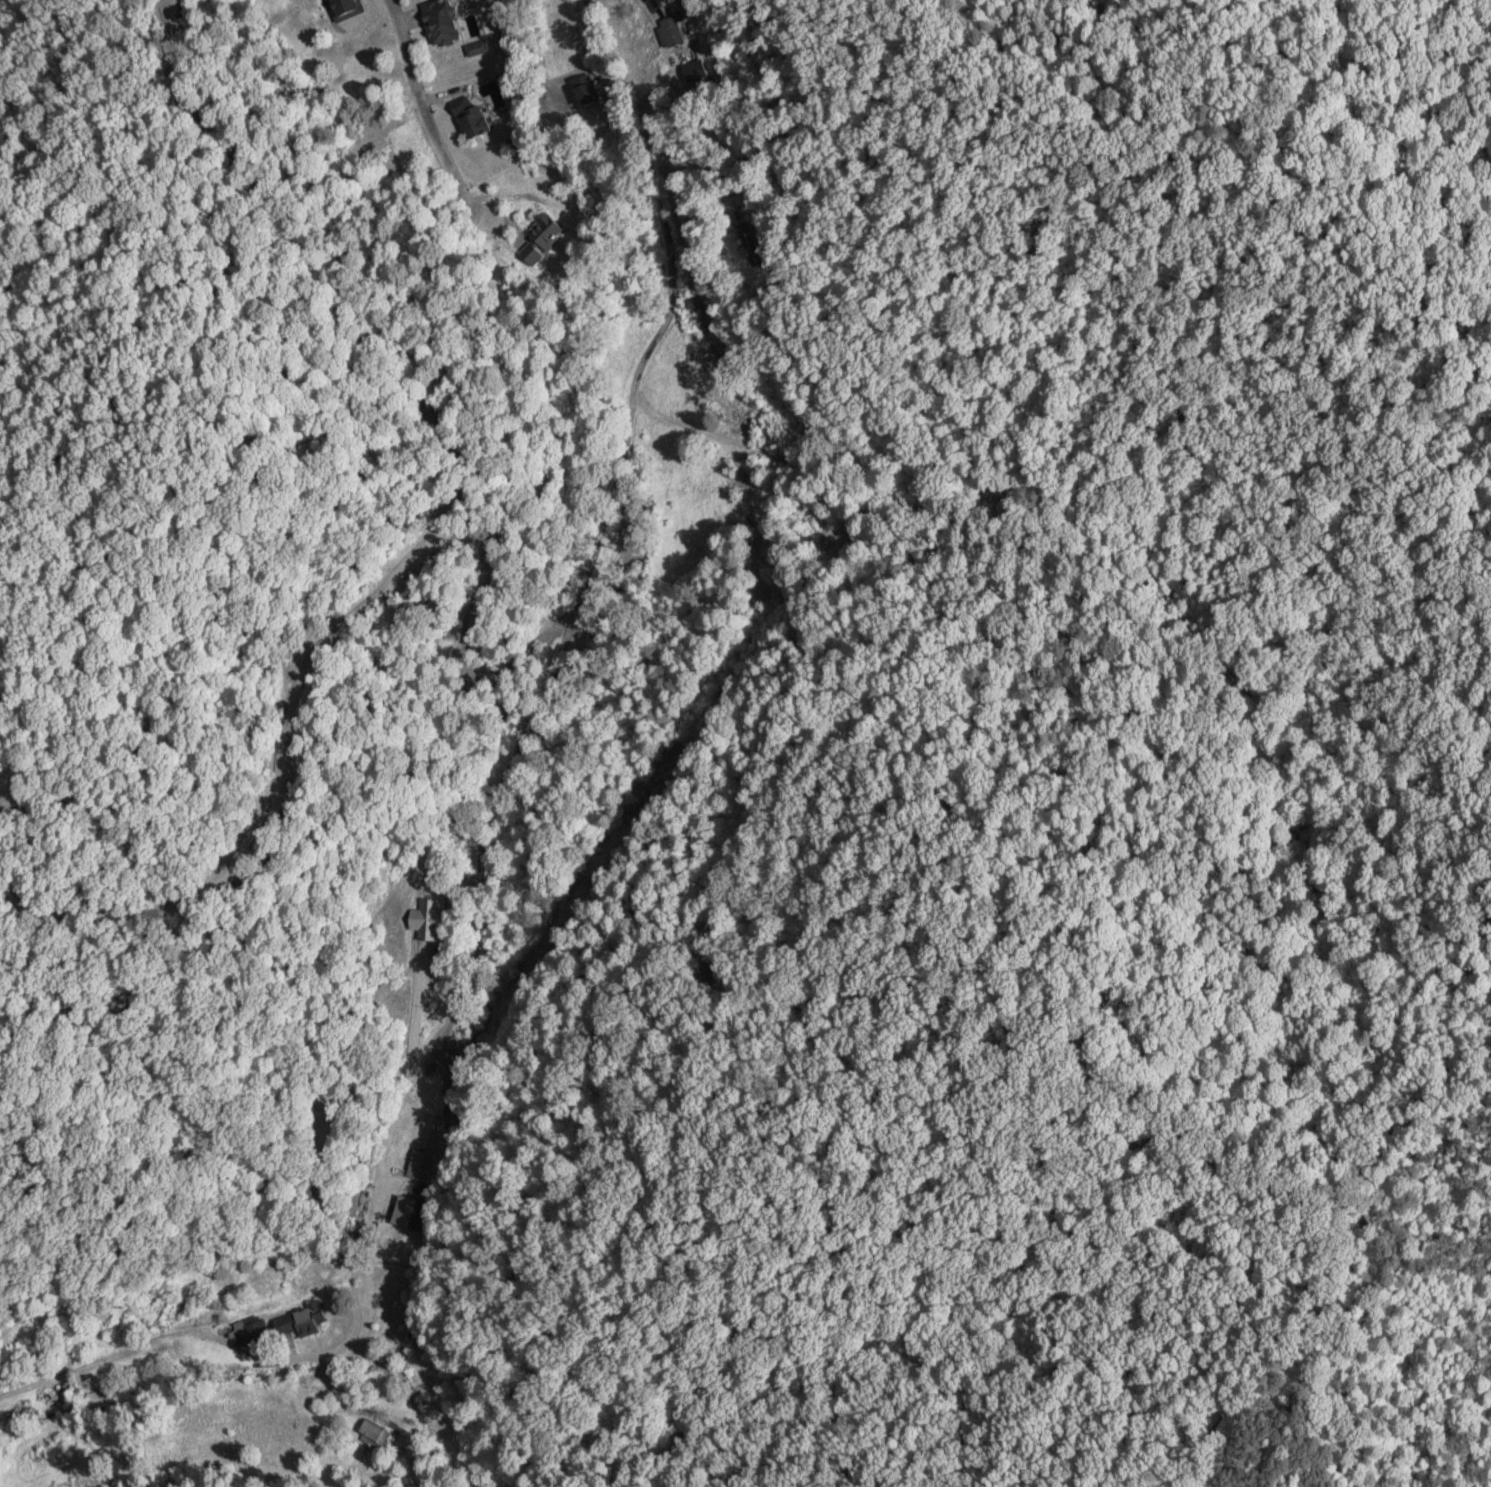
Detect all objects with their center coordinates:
building: (344, 9)
building: (438, 23)
building: (670, 32)
building: (585, 89)
road: (430, 117)
building: (469, 119)
building: (546, 231)
building: (754, 241)
road: (532, 741)
building: (426, 922)
building: (443, 1152)
building: (412, 1214)
road: (1316, 1248)
building: (299, 1321)
building: (252, 1333)
building: (374, 1434)

